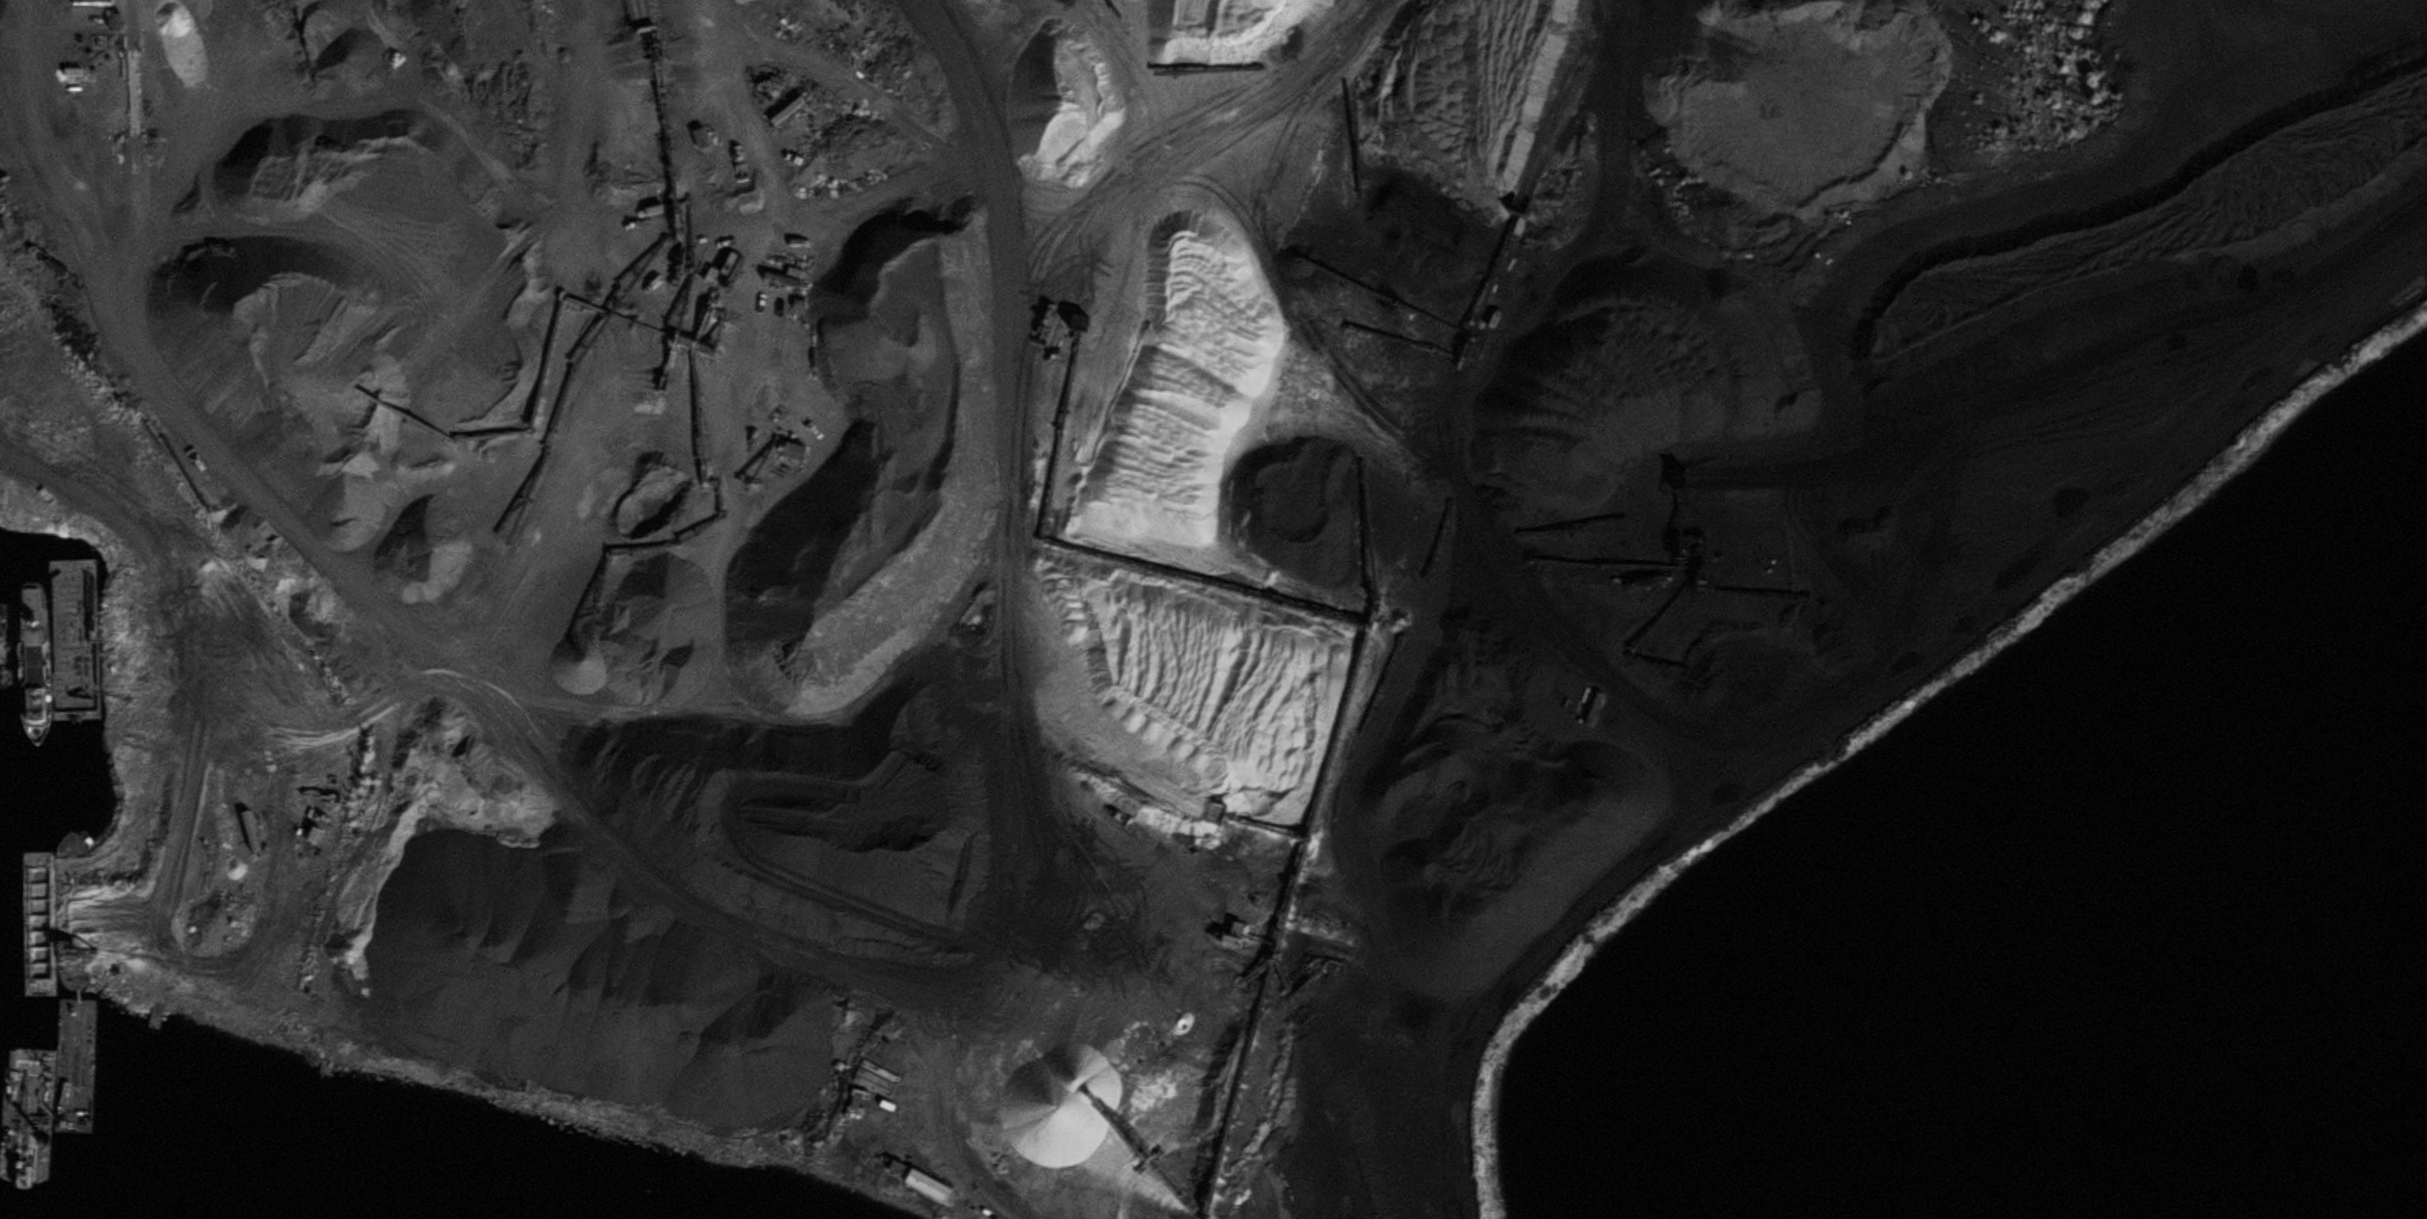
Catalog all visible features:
building: (68, 616)
quarry: (861, 697)
building: (27, 807)

